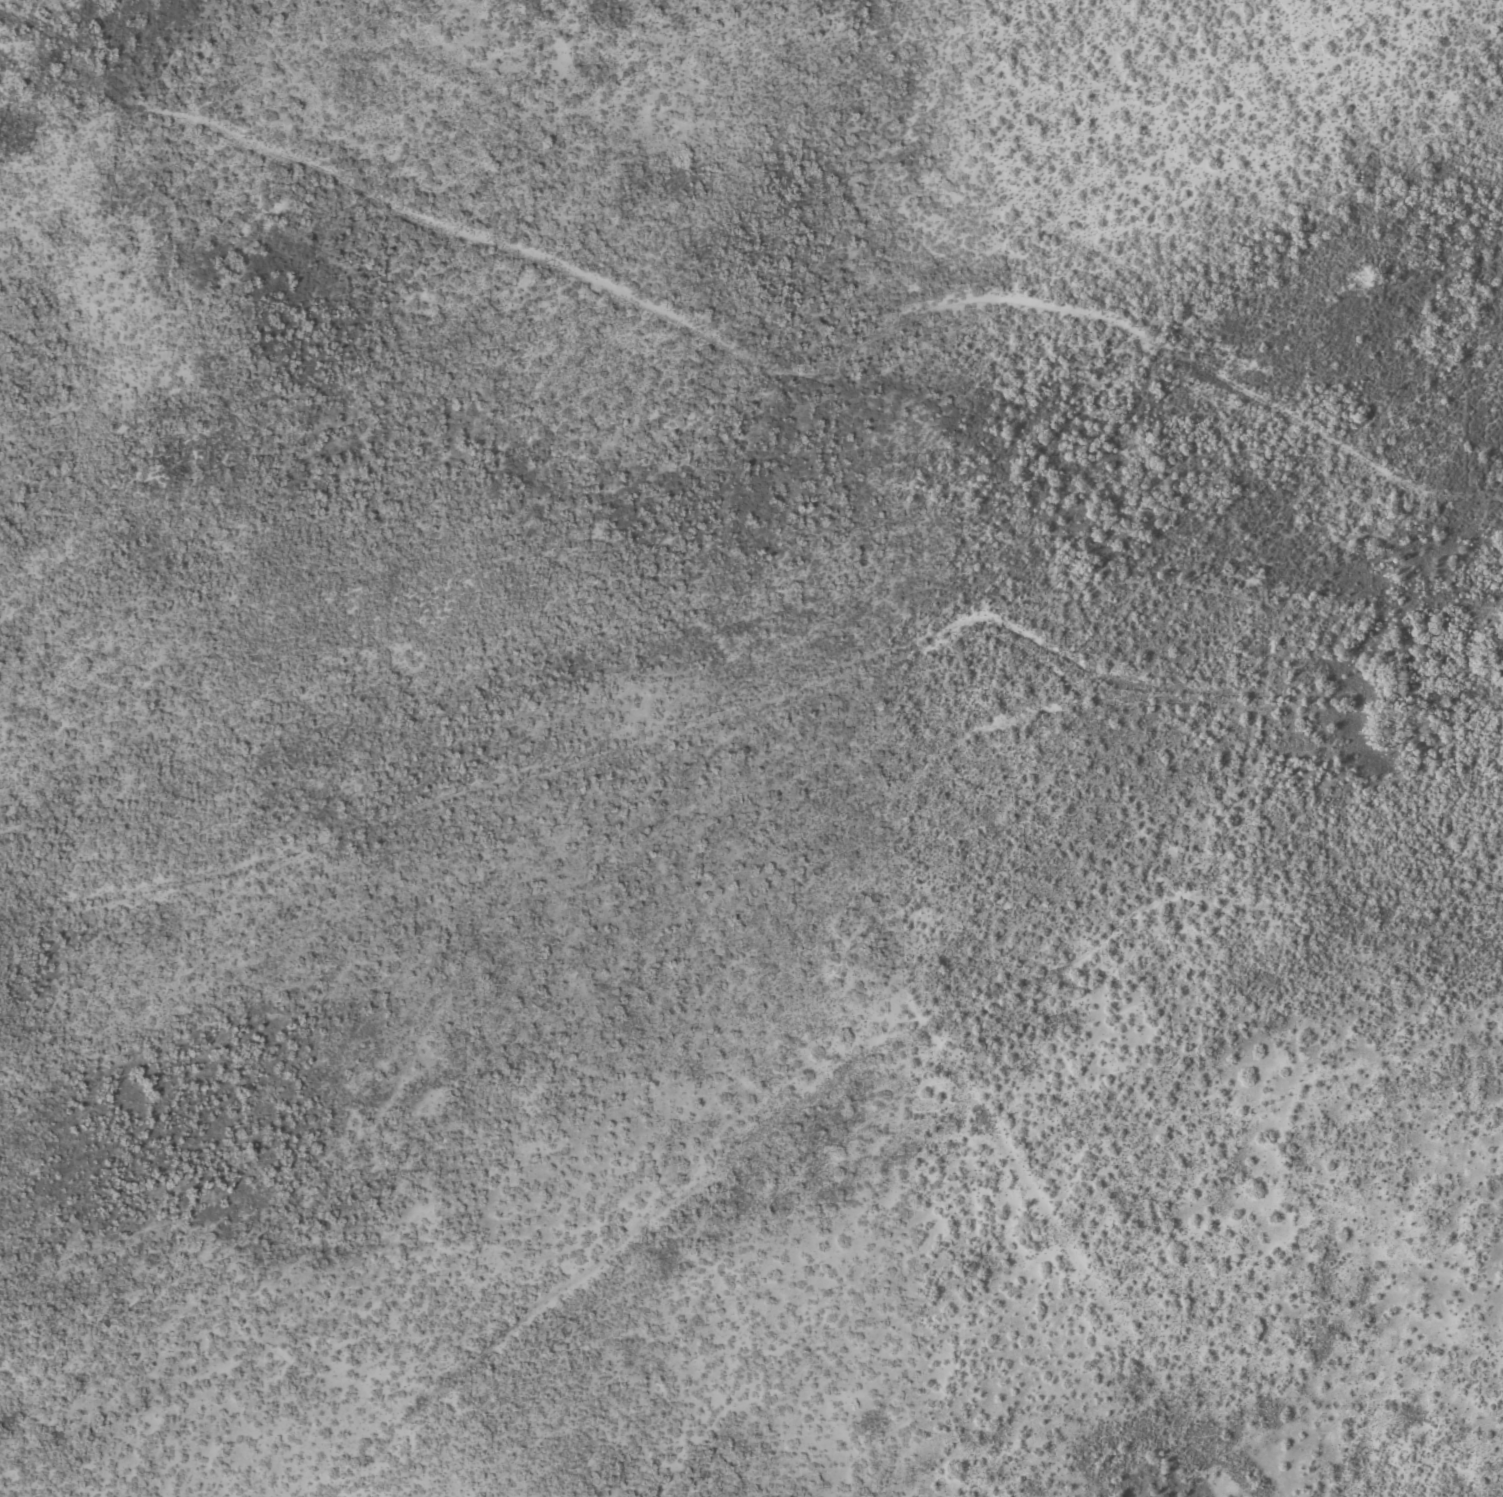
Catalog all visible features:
road: (746, 354)

